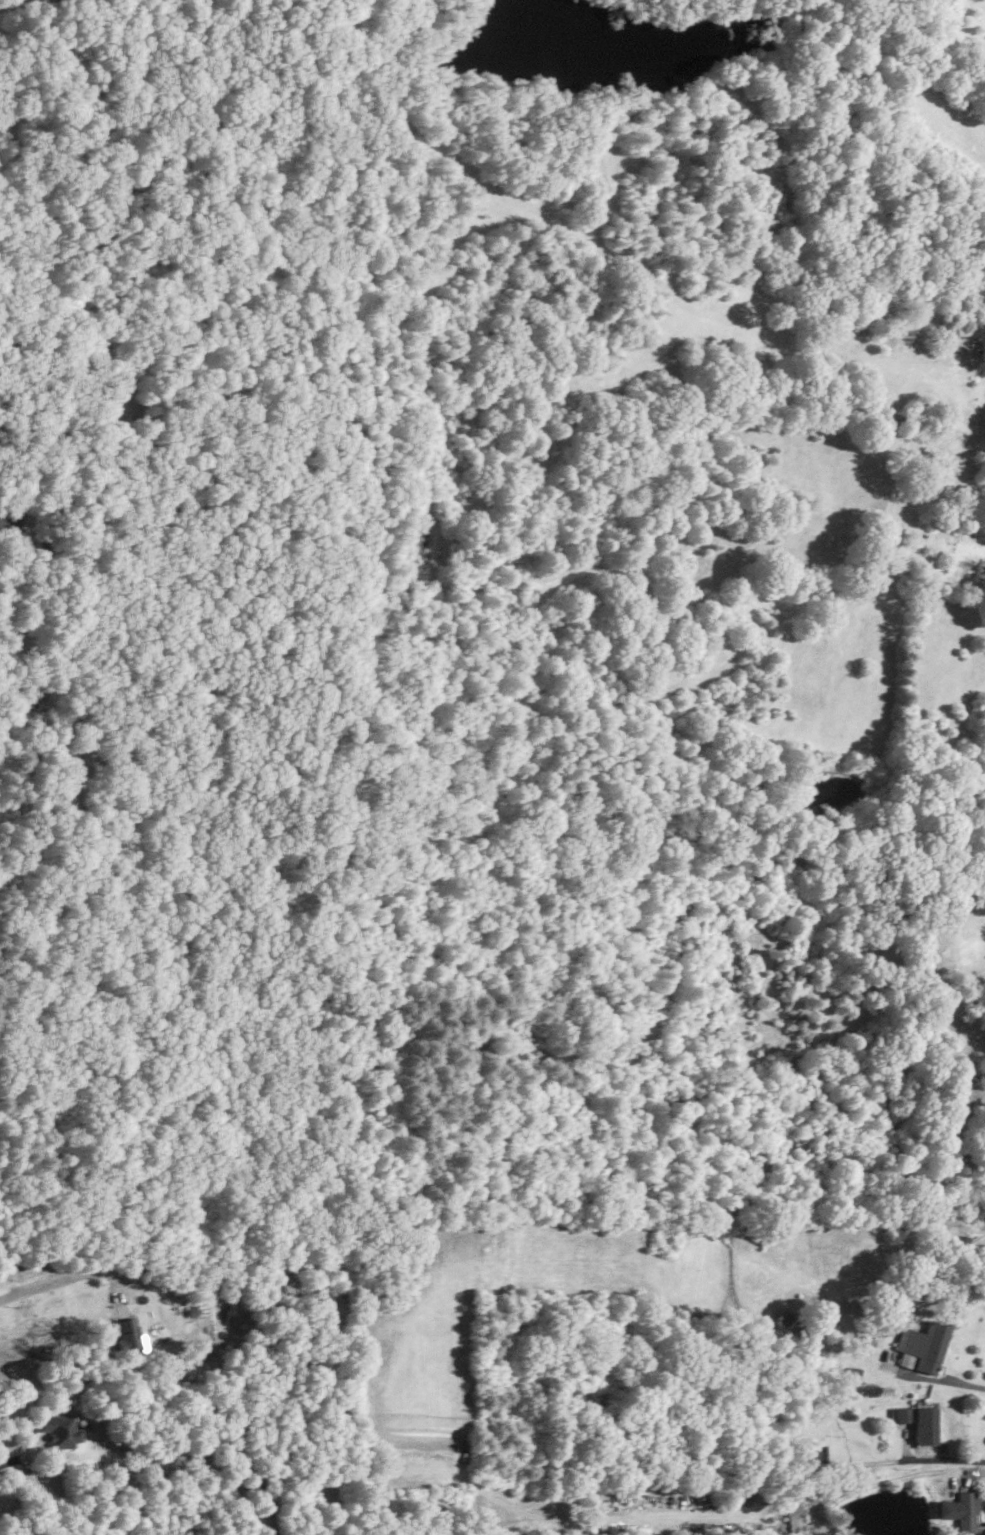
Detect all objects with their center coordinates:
building: (11, 520)
road: (14, 703)
road: (56, 1278)
building: (129, 1338)
building: (923, 1347)
building: (900, 1414)
building: (925, 1425)
building: (59, 1429)
road: (15, 1458)
road: (897, 1478)
building: (960, 1509)
building: (794, 1517)

